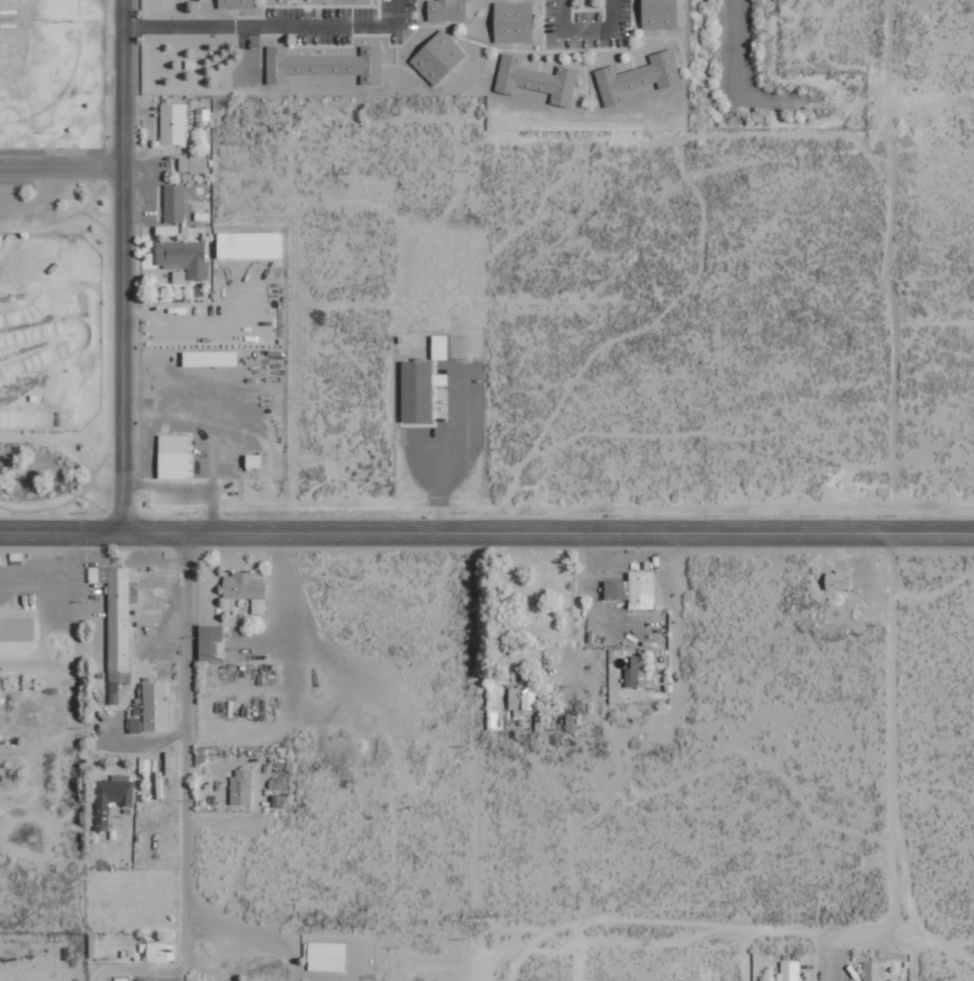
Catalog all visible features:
building: (354, 1)
building: (231, 3)
building: (447, 10)
building: (660, 14)
building: (513, 21)
building: (438, 56)
building: (324, 64)
building: (638, 77)
building: (538, 79)
building: (173, 124)
building: (192, 164)
road: (60, 167)
building: (174, 203)
building: (183, 257)
road: (122, 265)
road: (249, 308)
building: (439, 347)
building: (210, 358)
building: (419, 390)
building: (174, 456)
road: (486, 535)
building: (838, 579)
building: (243, 585)
building: (634, 589)
building: (258, 605)
building: (118, 621)
building: (17, 628)
building: (211, 642)
building: (638, 671)
building: (523, 698)
building: (153, 708)
building: (572, 722)
road: (191, 756)
building: (242, 786)
building: (111, 797)
road: (256, 934)
building: (158, 951)
building: (325, 956)
road: (830, 962)
road: (914, 965)
road: (142, 969)
building: (873, 970)
building: (789, 971)
building: (146, 979)

